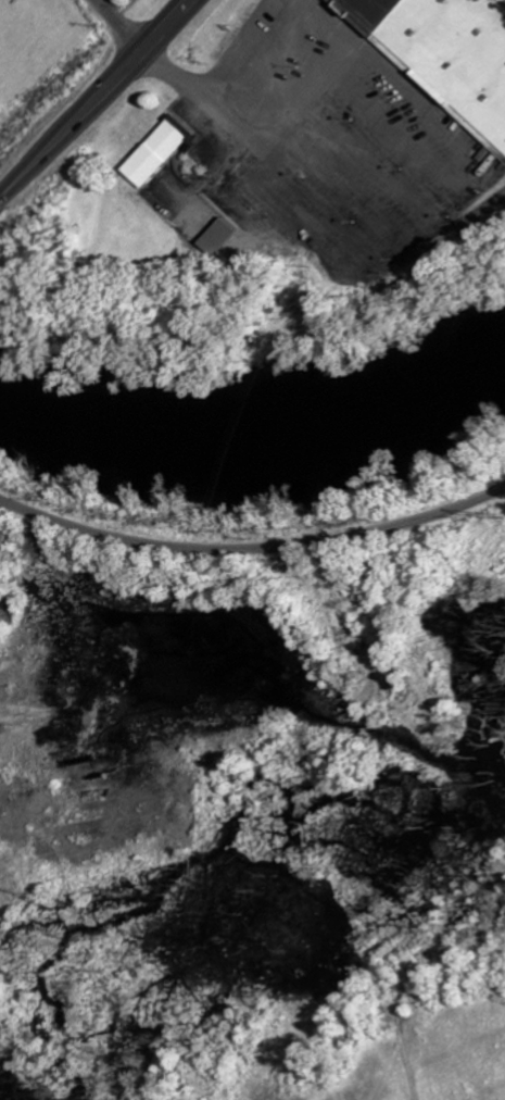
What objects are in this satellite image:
road: (101, 1)
road: (123, 26)
building: (446, 50)
road: (100, 101)
building: (164, 153)
road: (2, 204)
building: (227, 237)
river: (257, 407)
road: (253, 550)

